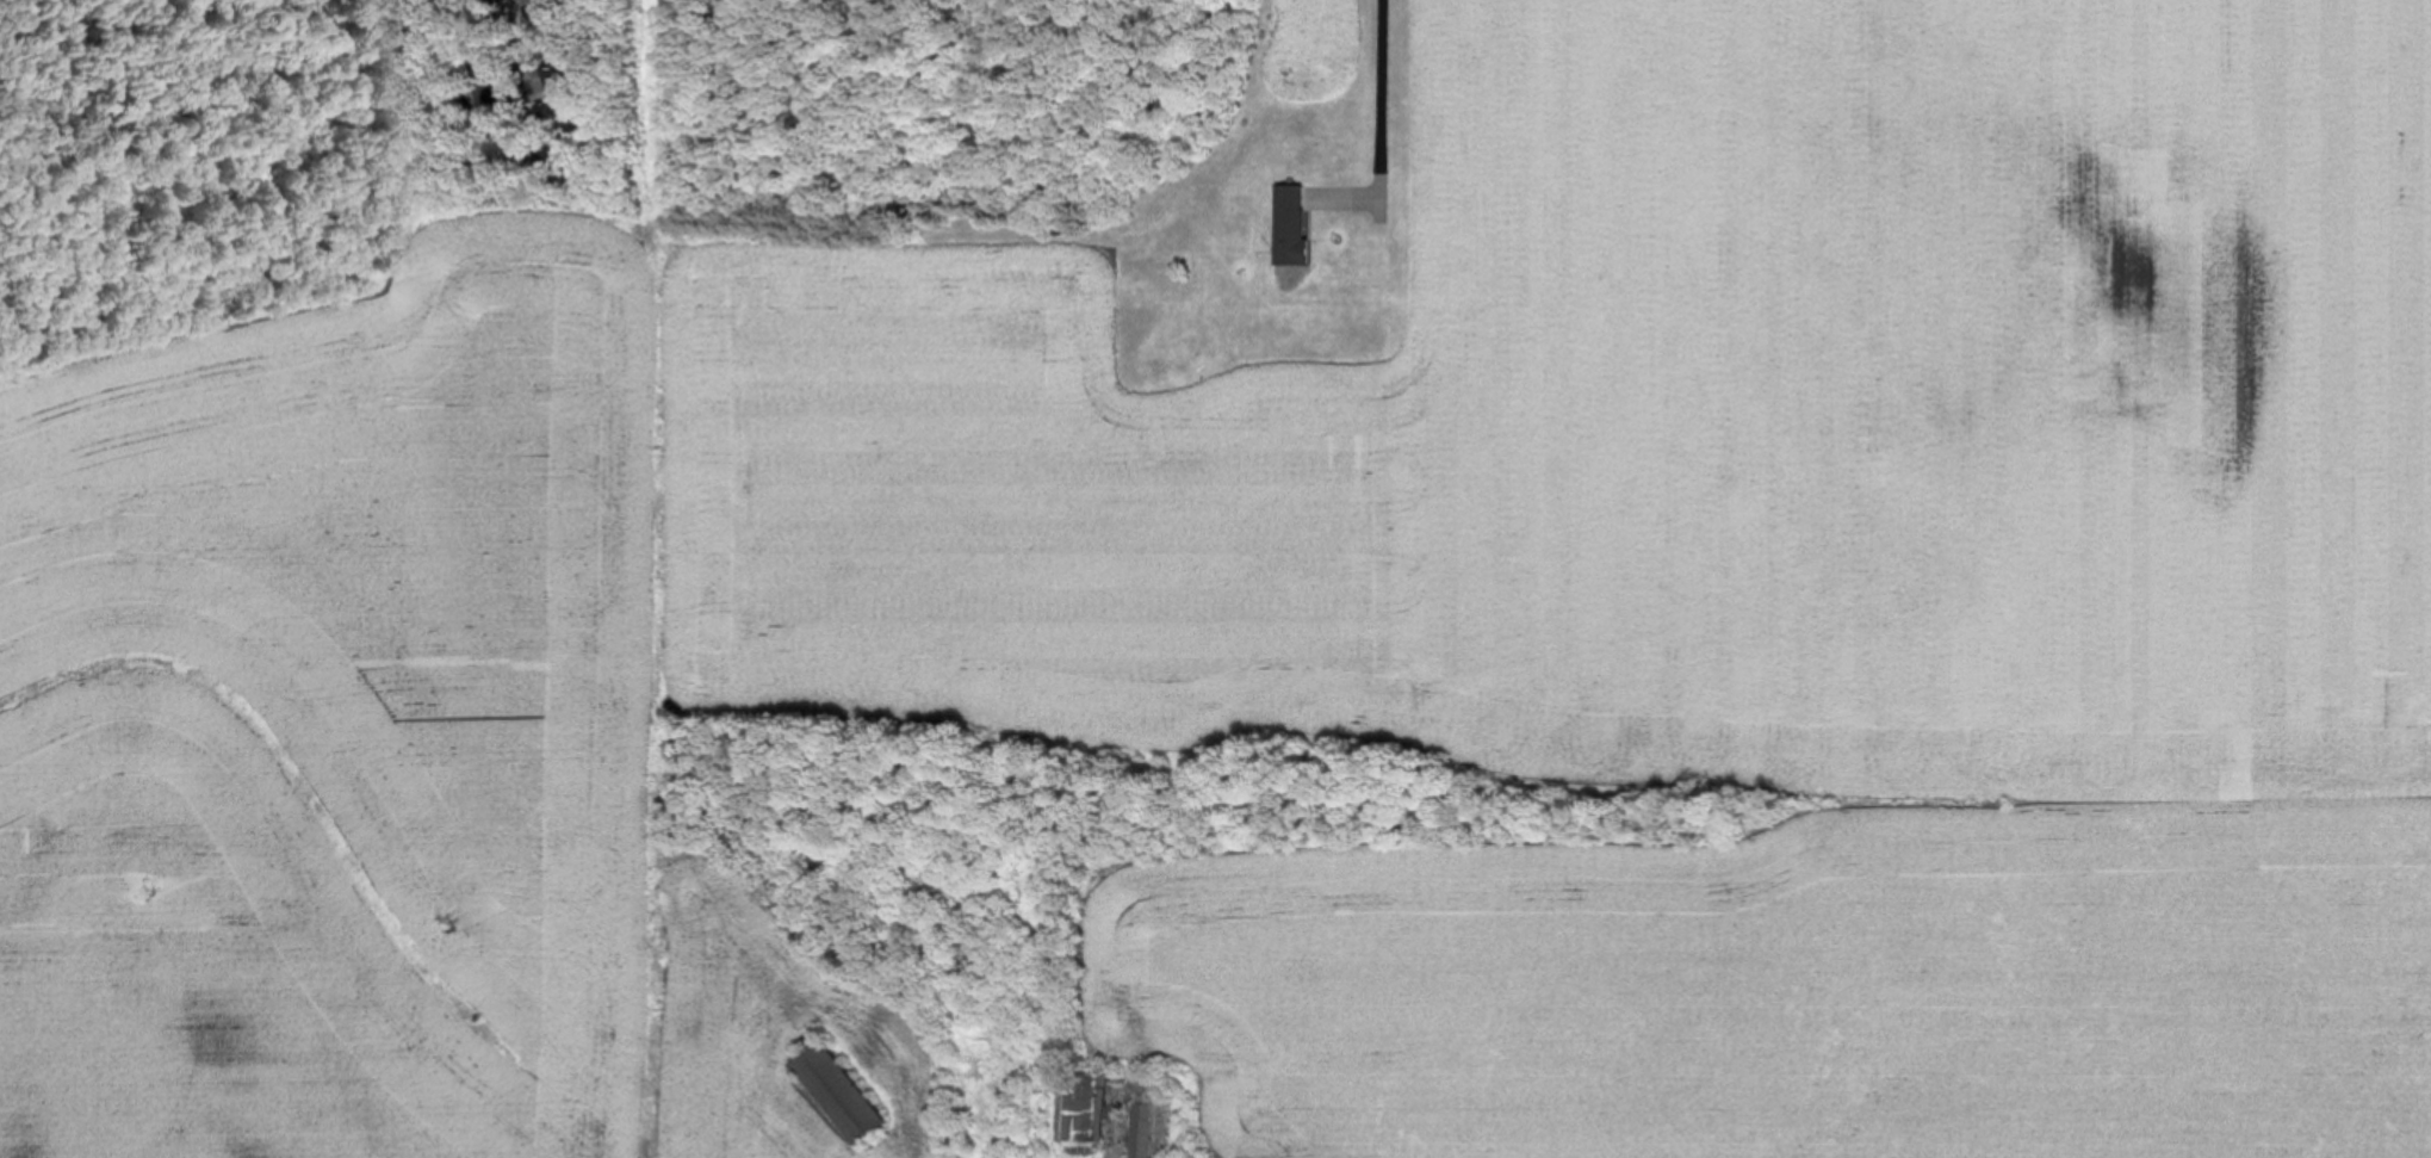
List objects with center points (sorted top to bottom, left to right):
road: (1379, 131)
building: (1286, 225)
building: (839, 1092)
building: (1083, 1107)
building: (1128, 1126)

